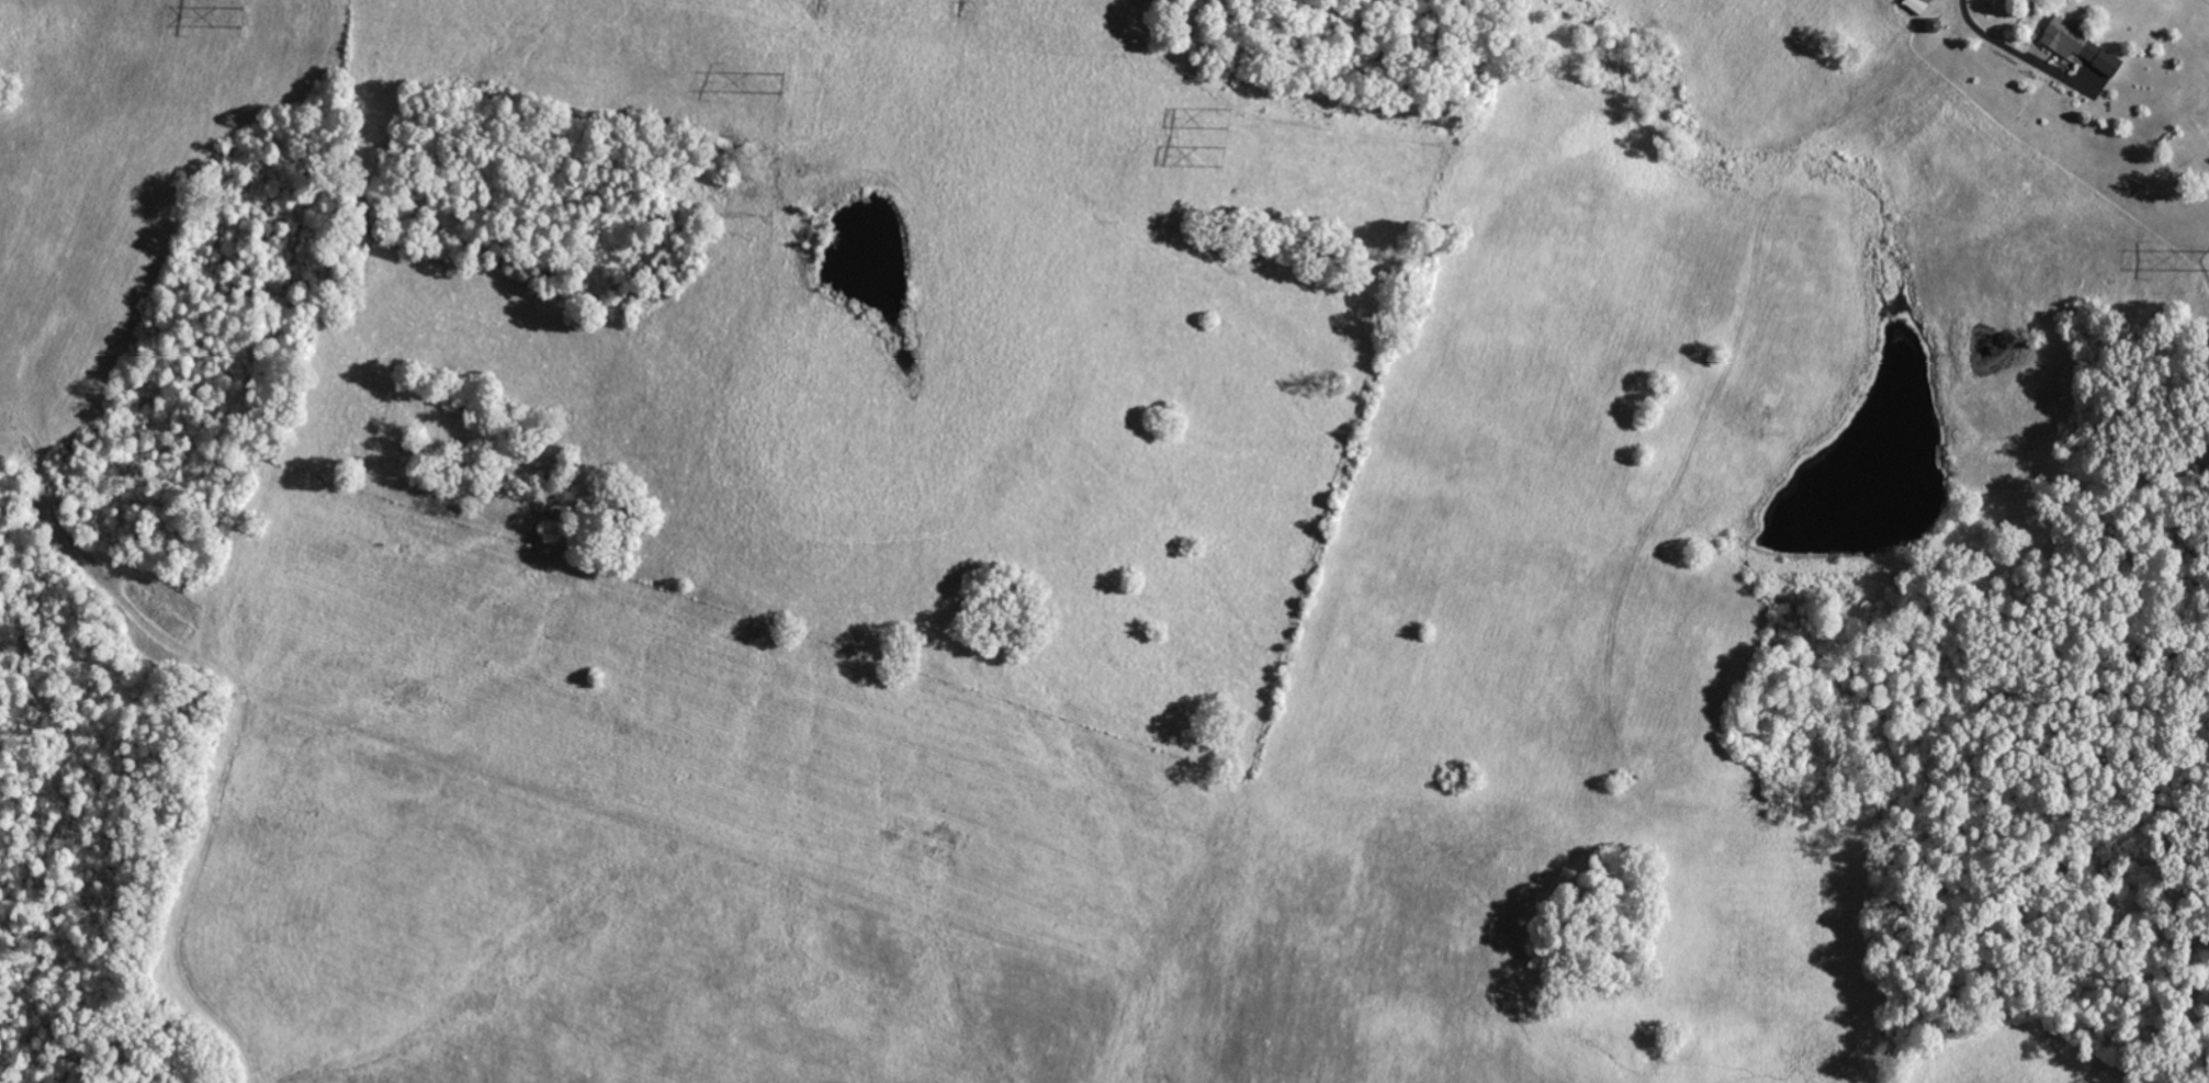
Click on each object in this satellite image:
building: (1920, 5)
power tower: (240, 13)
road: (1973, 21)
building: (2080, 45)
power tower: (785, 82)
power tower: (1224, 136)

